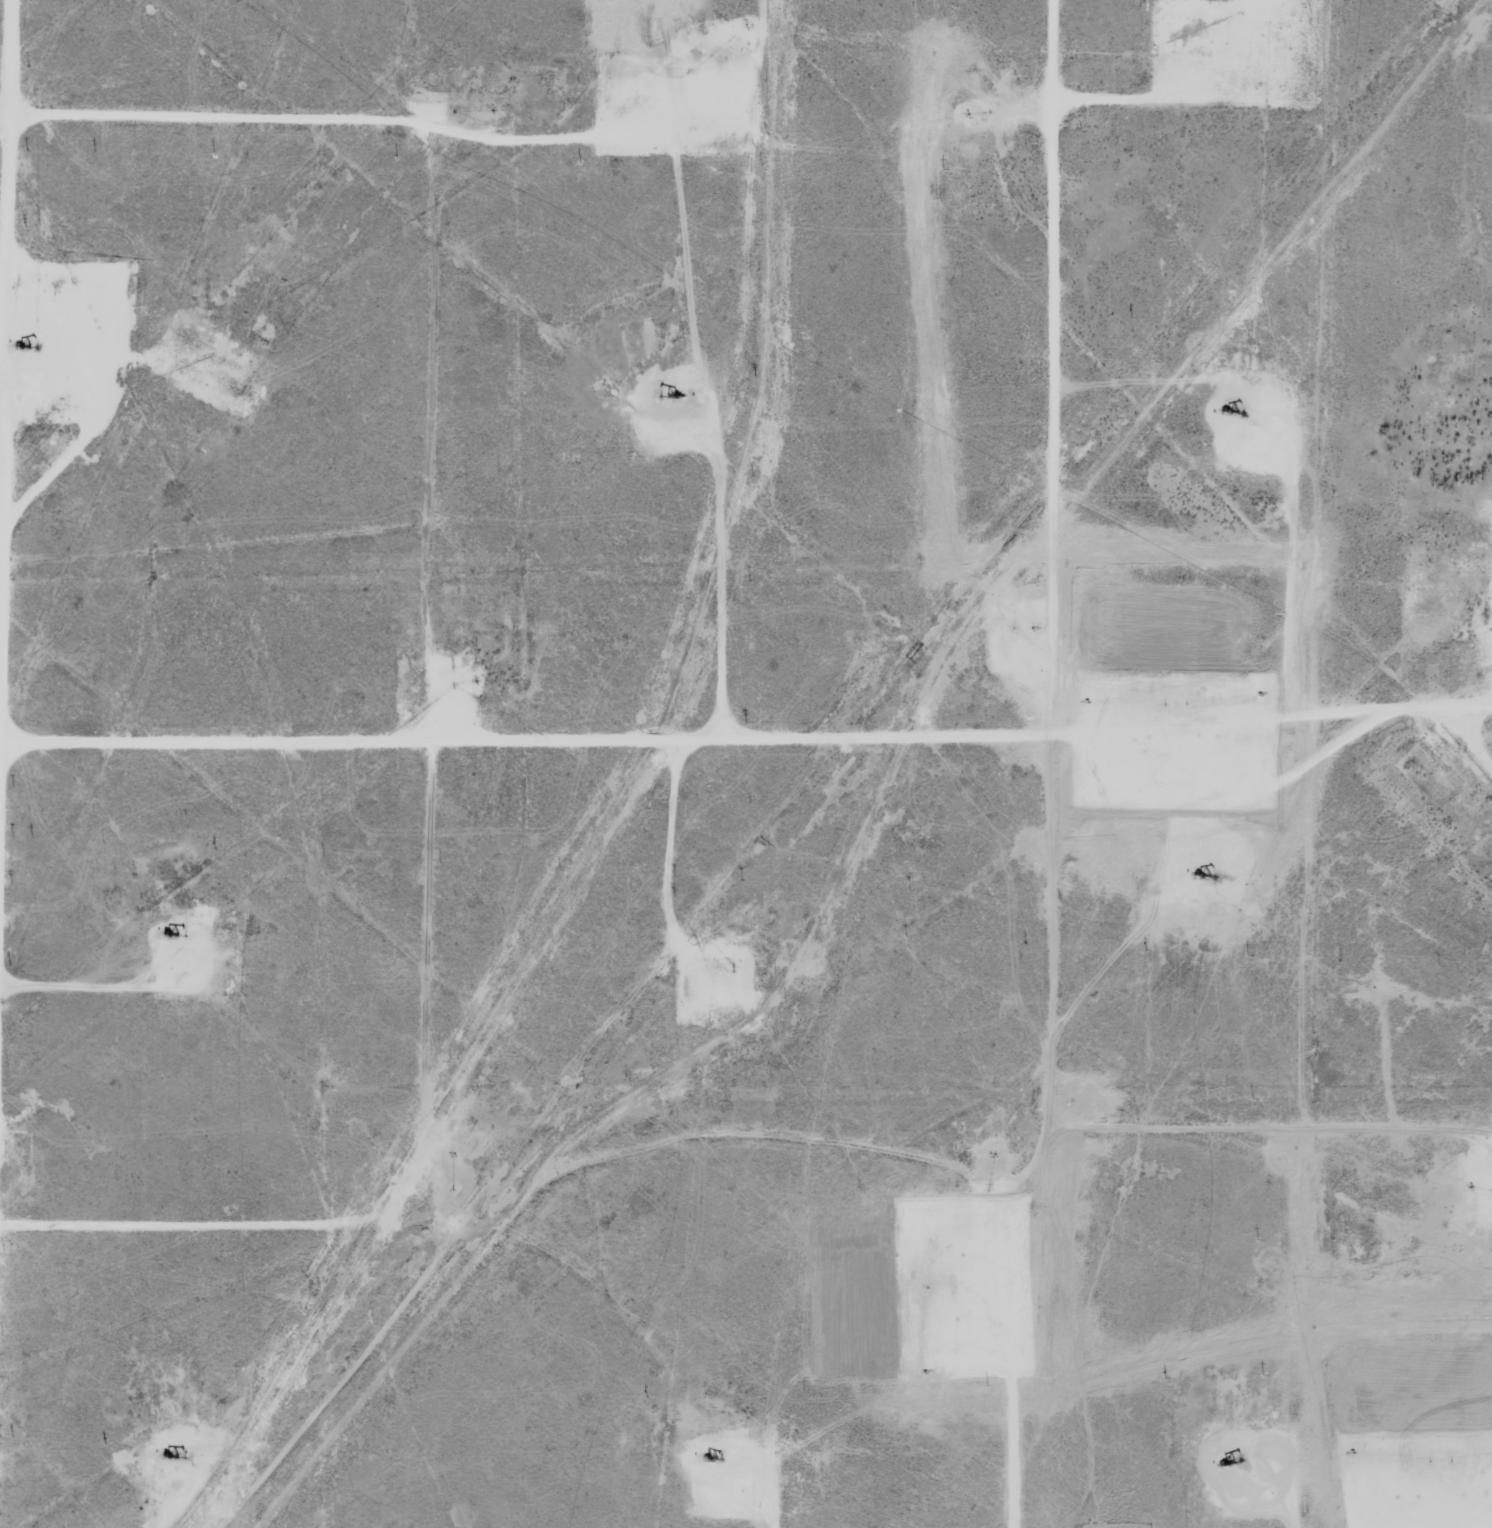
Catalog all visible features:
river: (1104, 378)
road: (16, 585)
road: (444, 665)
road: (746, 730)
road: (1057, 766)
road: (1277, 1127)

